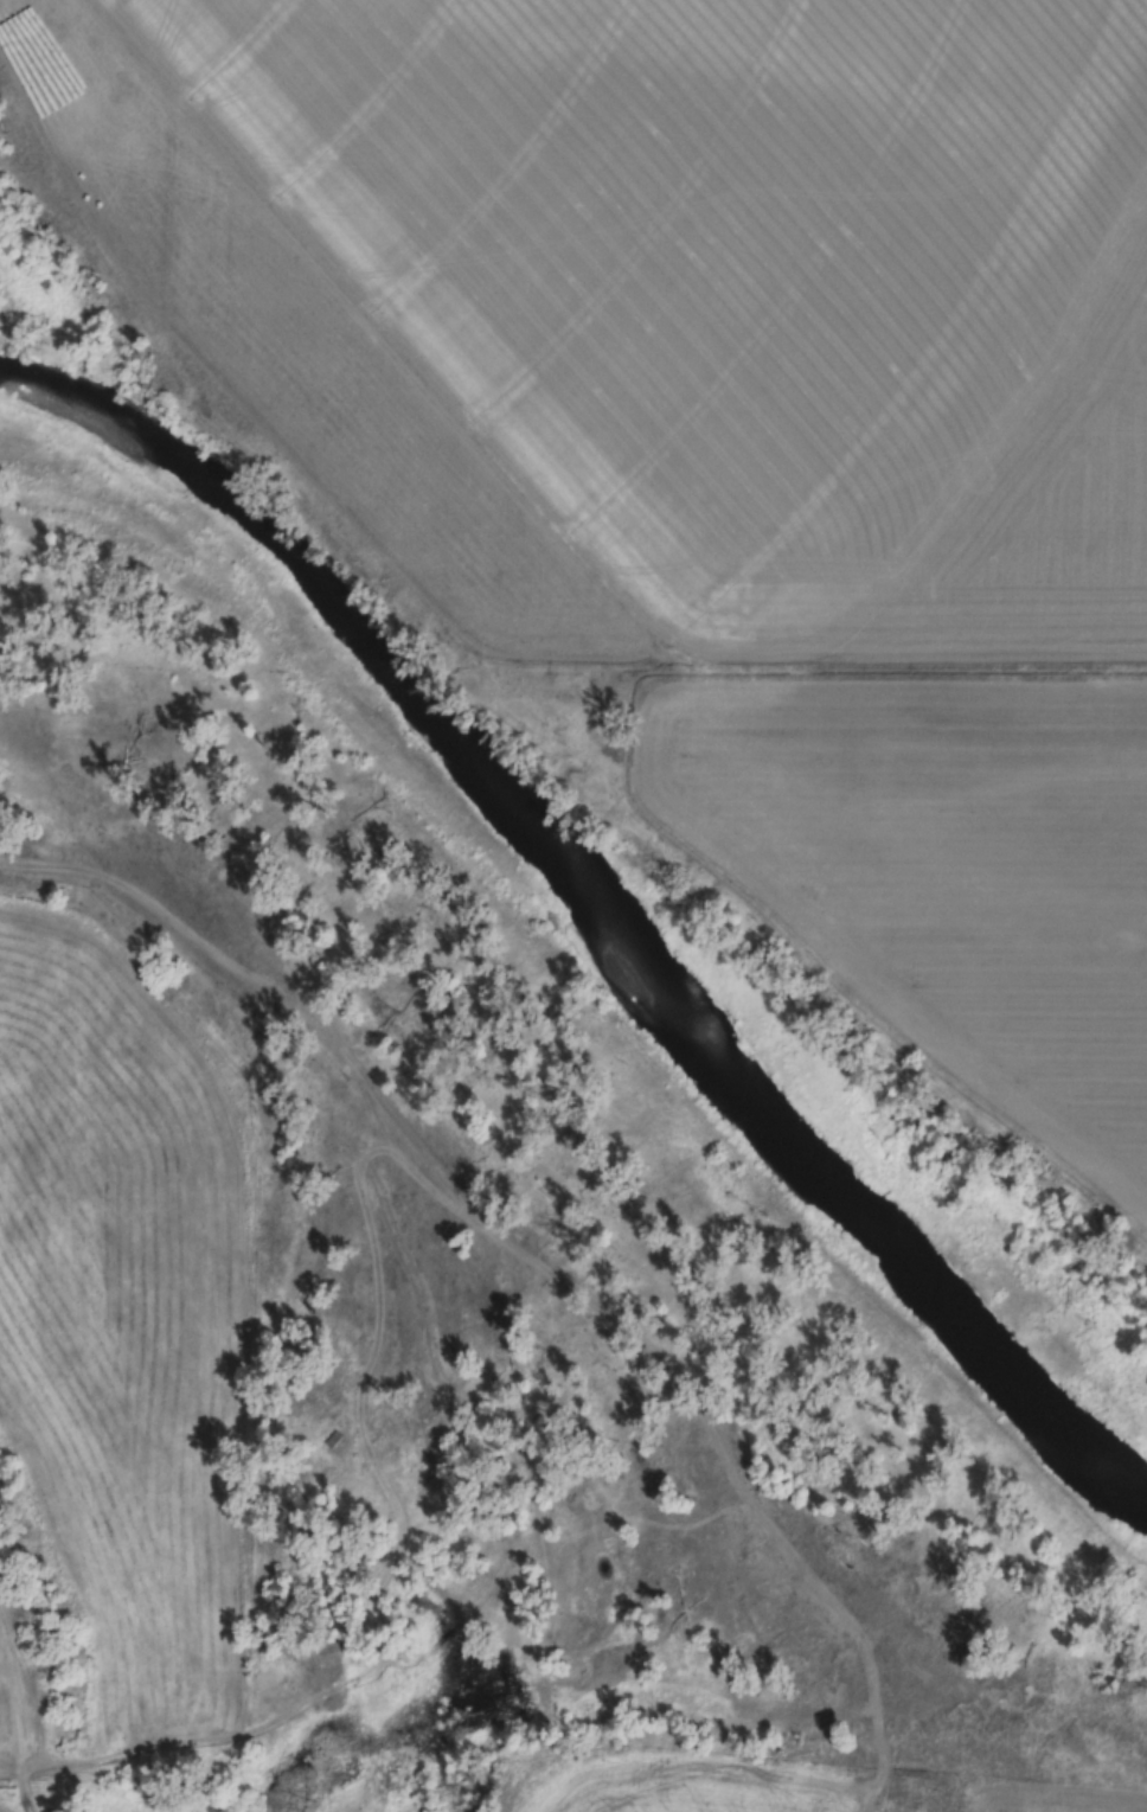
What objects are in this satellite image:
river: (582, 916)

